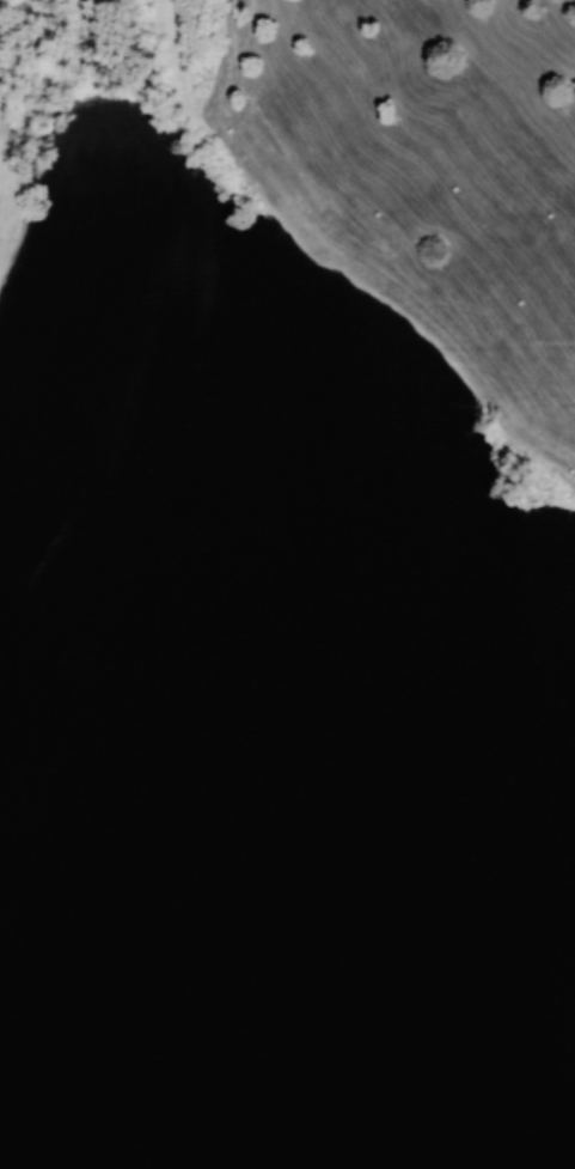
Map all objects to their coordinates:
road: (343, 256)
park: (287, 584)

